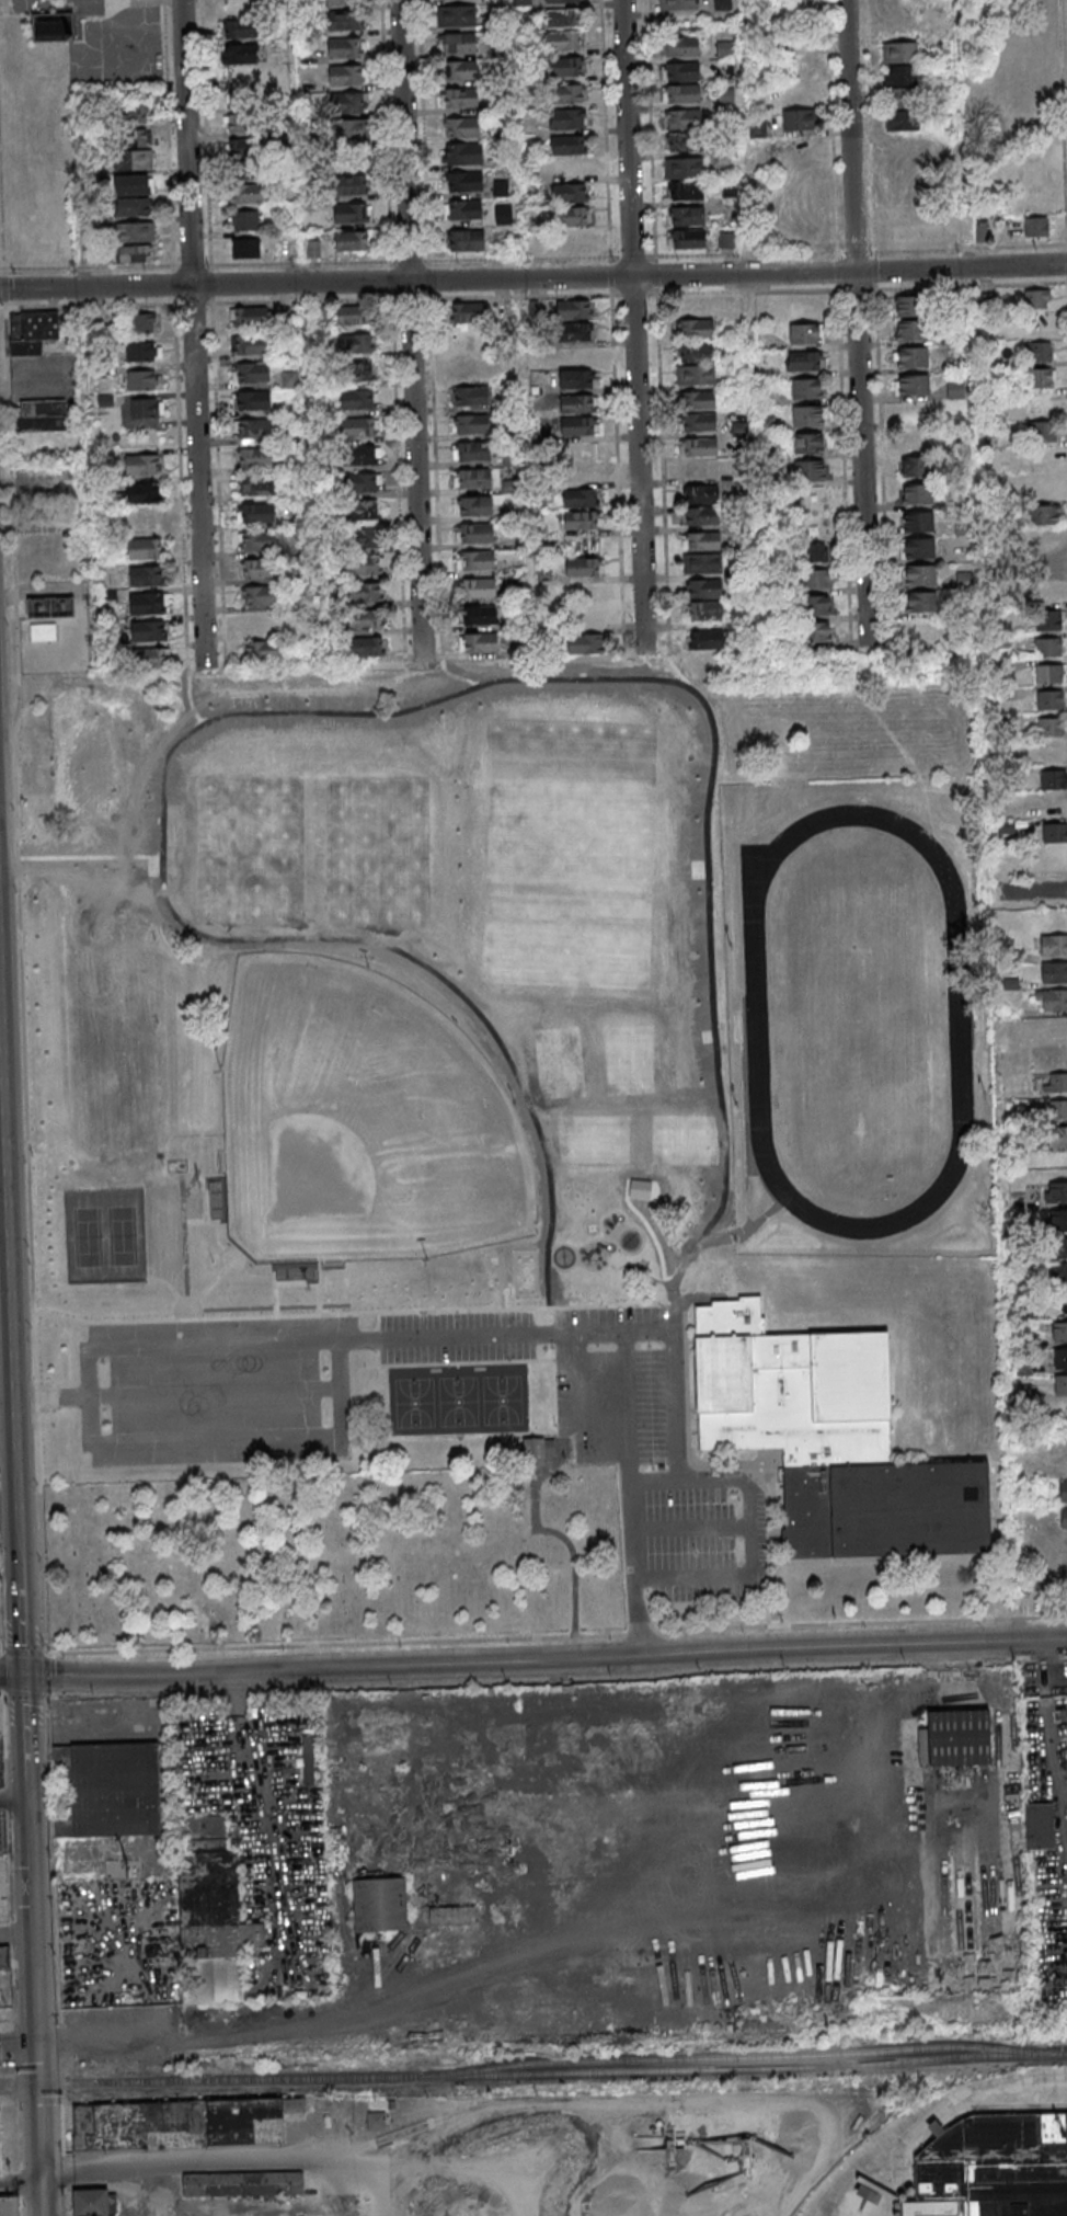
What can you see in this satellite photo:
building: (342, 1)
building: (563, 1)
building: (684, 4)
building: (461, 14)
building: (565, 18)
building: (344, 20)
building: (50, 27)
building: (241, 28)
building: (899, 30)
building: (566, 41)
building: (461, 43)
building: (346, 47)
building: (685, 47)
building: (242, 53)
building: (899, 54)
building: (567, 66)
building: (462, 70)
building: (686, 70)
building: (347, 75)
building: (900, 77)
building: (569, 94)
building: (686, 94)
building: (725, 98)
building: (463, 99)
building: (349, 102)
building: (902, 110)
building: (131, 114)
building: (687, 119)
building: (570, 121)
building: (799, 121)
building: (243, 123)
building: (464, 127)
road: (607, 128)
building: (349, 130)
building: (134, 138)
building: (684, 141)
building: (566, 145)
building: (246, 147)
road: (653, 147)
building: (468, 153)
building: (136, 160)
building: (684, 167)
building: (246, 168)
building: (574, 168)
building: (468, 181)
building: (136, 184)
building: (349, 184)
building: (687, 190)
building: (571, 192)
building: (245, 193)
building: (137, 206)
building: (468, 210)
building: (352, 214)
building: (572, 216)
building: (687, 216)
building: (246, 221)
building: (1035, 226)
building: (138, 232)
building: (905, 235)
building: (953, 236)
building: (687, 239)
building: (466, 240)
building: (352, 241)
building: (727, 241)
building: (571, 242)
building: (249, 249)
building: (138, 254)
road: (533, 277)
road: (973, 287)
road: (769, 292)
building: (1037, 298)
building: (697, 306)
building: (913, 306)
building: (574, 308)
building: (467, 311)
building: (318, 313)
building: (352, 316)
building: (253, 317)
building: (141, 322)
road: (861, 322)
road: (636, 325)
road: (414, 329)
building: (698, 329)
building: (32, 331)
building: (575, 331)
building: (915, 331)
road: (196, 334)
building: (810, 334)
building: (359, 344)
building: (254, 345)
building: (144, 351)
building: (1039, 351)
building: (698, 353)
building: (916, 357)
building: (807, 362)
building: (470, 367)
building: (360, 372)
building: (256, 373)
building: (698, 375)
building: (1040, 377)
building: (576, 378)
building: (141, 379)
building: (289, 379)
building: (538, 382)
building: (917, 385)
road: (89, 387)
building: (812, 389)
building: (955, 389)
building: (472, 397)
building: (358, 400)
building: (700, 400)
building: (256, 401)
building: (578, 403)
building: (146, 407)
building: (39, 416)
building: (812, 416)
building: (700, 423)
building: (473, 425)
building: (575, 425)
building: (358, 427)
building: (256, 430)
building: (1045, 432)
building: (541, 438)
building: (916, 438)
building: (810, 444)
building: (701, 448)
building: (474, 452)
building: (358, 455)
building: (259, 458)
building: (509, 458)
building: (142, 464)
building: (919, 468)
building: (810, 471)
building: (581, 472)
road: (309, 475)
building: (475, 479)
building: (365, 482)
building: (260, 484)
building: (1045, 489)
building: (144, 492)
building: (701, 493)
building: (920, 494)
building: (582, 498)
building: (813, 499)
building: (477, 506)
building: (364, 511)
building: (261, 514)
building: (1046, 515)
building: (703, 516)
building: (583, 519)
building: (921, 523)
building: (478, 534)
building: (367, 536)
building: (704, 541)
building: (262, 542)
building: (1045, 542)
building: (146, 548)
building: (923, 549)
building: (816, 552)
building: (479, 561)
building: (705, 563)
building: (365, 564)
building: (1047, 564)
building: (584, 567)
building: (262, 569)
building: (146, 575)
building: (923, 576)
building: (817, 578)
building: (479, 589)
building: (707, 590)
building: (1047, 592)
building: (365, 593)
building: (263, 597)
building: (148, 603)
building: (925, 603)
building: (816, 605)
building: (49, 606)
building: (708, 612)
building: (587, 614)
building: (481, 616)
building: (365, 619)
road: (223, 621)
building: (1051, 621)
building: (261, 622)
building: (147, 630)
building: (43, 631)
building: (817, 631)
building: (709, 640)
building: (481, 643)
building: (586, 643)
road: (869, 646)
building: (366, 647)
building: (1051, 649)
building: (265, 651)
road: (647, 651)
building: (152, 658)
road: (423, 660)
road: (675, 669)
road: (455, 674)
building: (1052, 675)
road: (188, 698)
building: (1053, 701)
road: (302, 711)
building: (1054, 728)
road: (894, 740)
building: (1054, 754)
building: (1055, 780)
building: (1048, 808)
building: (1054, 833)
park: (248, 850)
park: (376, 853)
park: (566, 853)
road: (89, 856)
road: (702, 868)
road: (1022, 890)
road: (1031, 891)
road: (983, 907)
building: (1055, 946)
building: (1056, 973)
building: (1056, 1002)
track: (857, 1019)
stadium: (978, 1019)
park: (858, 1023)
road: (710, 1036)
park: (629, 1059)
park: (558, 1060)
building: (1058, 1085)
park: (531, 1101)
road: (743, 1109)
building: (1059, 1111)
park: (362, 1123)
park: (590, 1138)
park: (682, 1138)
building: (1059, 1139)
road: (190, 1183)
building: (640, 1188)
road: (205, 1192)
building: (1059, 1193)
road: (632, 1207)
road: (222, 1222)
building: (1060, 1222)
park: (104, 1237)
road: (183, 1241)
building: (1060, 1249)
road: (242, 1264)
park: (526, 1271)
road: (640, 1273)
building: (1062, 1278)
road: (312, 1284)
road: (700, 1295)
road: (8, 1299)
road: (505, 1300)
road: (182, 1301)
road: (542, 1301)
building: (1062, 1304)
road: (268, 1305)
road: (557, 1306)
road: (672, 1312)
building: (1062, 1334)
parking lot: (458, 1337)
road: (379, 1339)
road: (480, 1362)
building: (1063, 1362)
building: (1024, 1368)
building: (1063, 1387)
road: (341, 1389)
building: (790, 1390)
parking lot: (221, 1392)
road: (175, 1393)
road: (90, 1396)
park: (458, 1401)
road: (583, 1417)
road: (217, 1439)
building: (537, 1451)
parking lot: (655, 1459)
road: (533, 1475)
road: (631, 1494)
building: (1065, 1494)
building: (885, 1510)
building: (1066, 1519)
road: (691, 1528)
road: (749, 1530)
road: (559, 1533)
park: (337, 1555)
road: (834, 1561)
road: (695, 1602)
road: (22, 1611)
road: (46, 1652)
road: (532, 1659)
traffic signals: (27, 1675)
building: (0, 1716)
road: (26, 1726)
building: (956, 1737)
building: (308, 1760)
road: (26, 1789)
building: (108, 1792)
road: (13, 1798)
building: (1039, 1827)
building: (380, 1904)
building: (213, 1912)
building: (451, 1916)
road: (15, 1933)
building: (5, 1958)
road: (34, 2007)
road: (18, 2035)
railway: (739, 2056)
railway: (552, 2072)
railway: (19, 2086)
railway: (1022, 2105)
road: (928, 2115)
building: (375, 2122)
building: (182, 2124)
building: (2, 2145)
road: (107, 2163)
building: (994, 2168)
building: (253, 2183)
road: (20, 2184)
building: (91, 2202)
building: (9, 2205)

